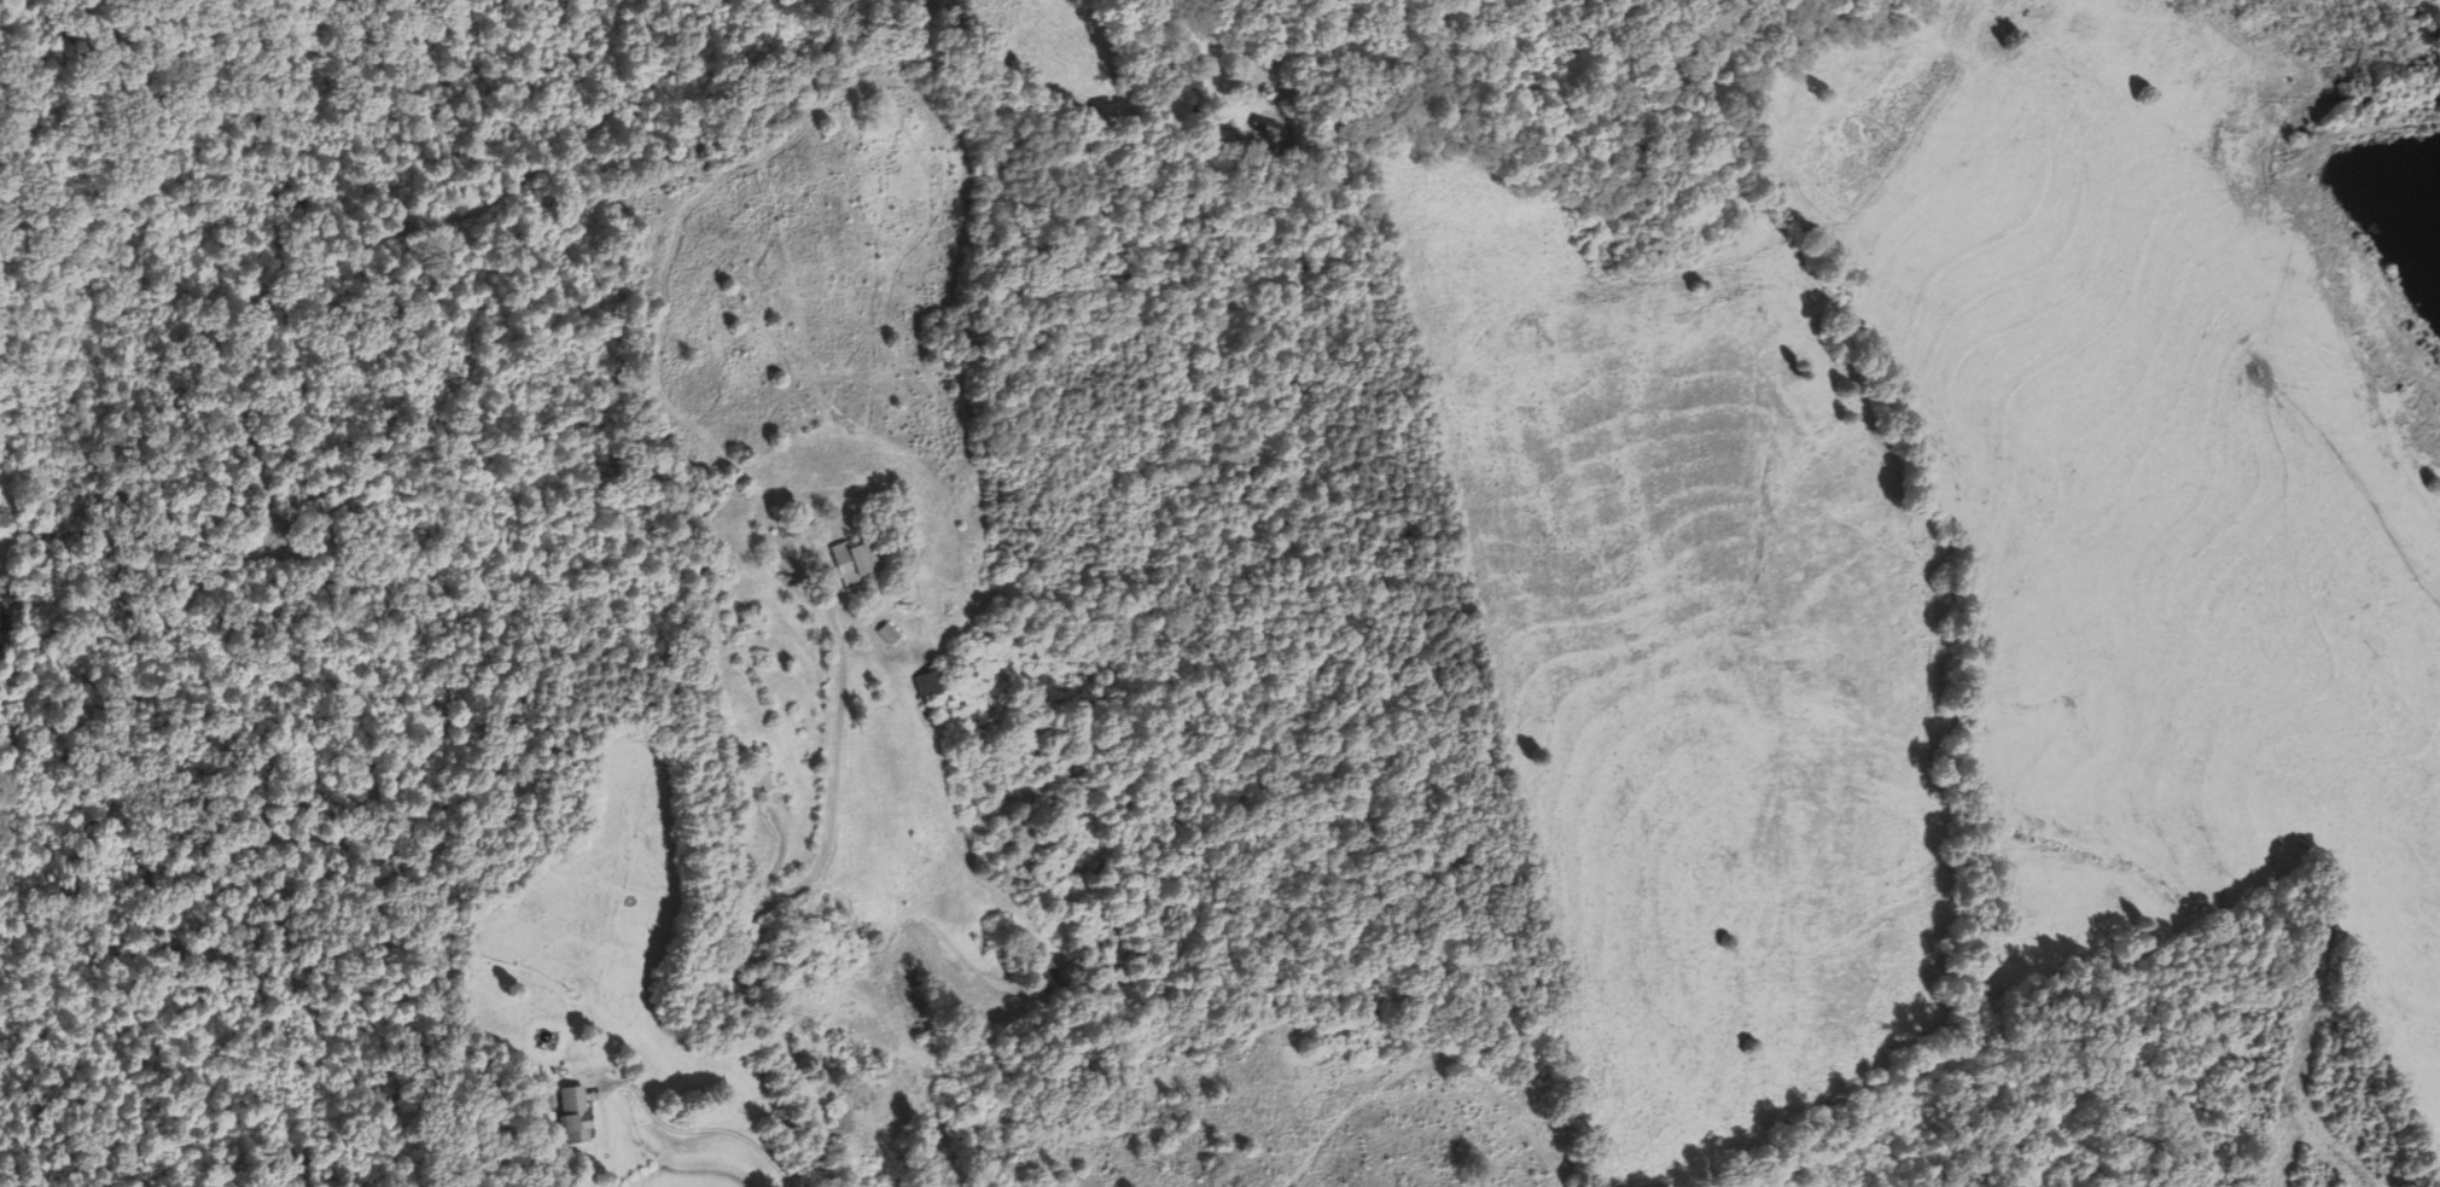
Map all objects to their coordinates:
building: (1258, 132)
building: (852, 560)
building: (932, 682)
building: (762, 773)
road: (768, 900)
road: (899, 924)
building: (1043, 973)
building: (854, 1054)
building: (572, 1113)
road: (1510, 1122)
road: (701, 1129)

